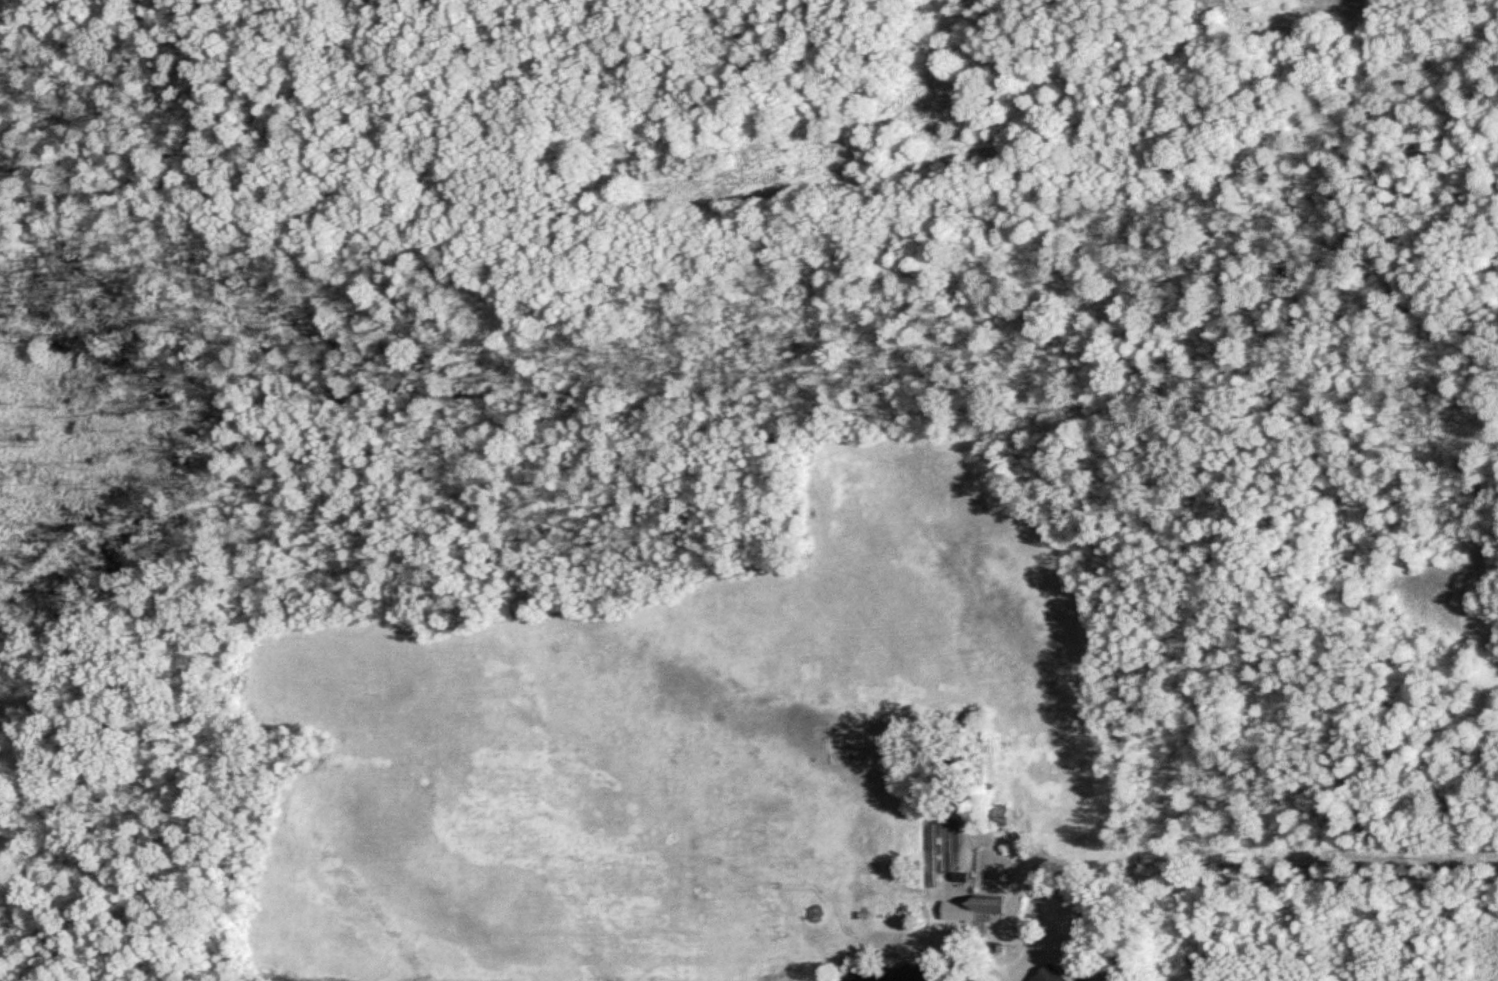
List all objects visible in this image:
road: (1233, 863)
building: (972, 910)
building: (1053, 975)

